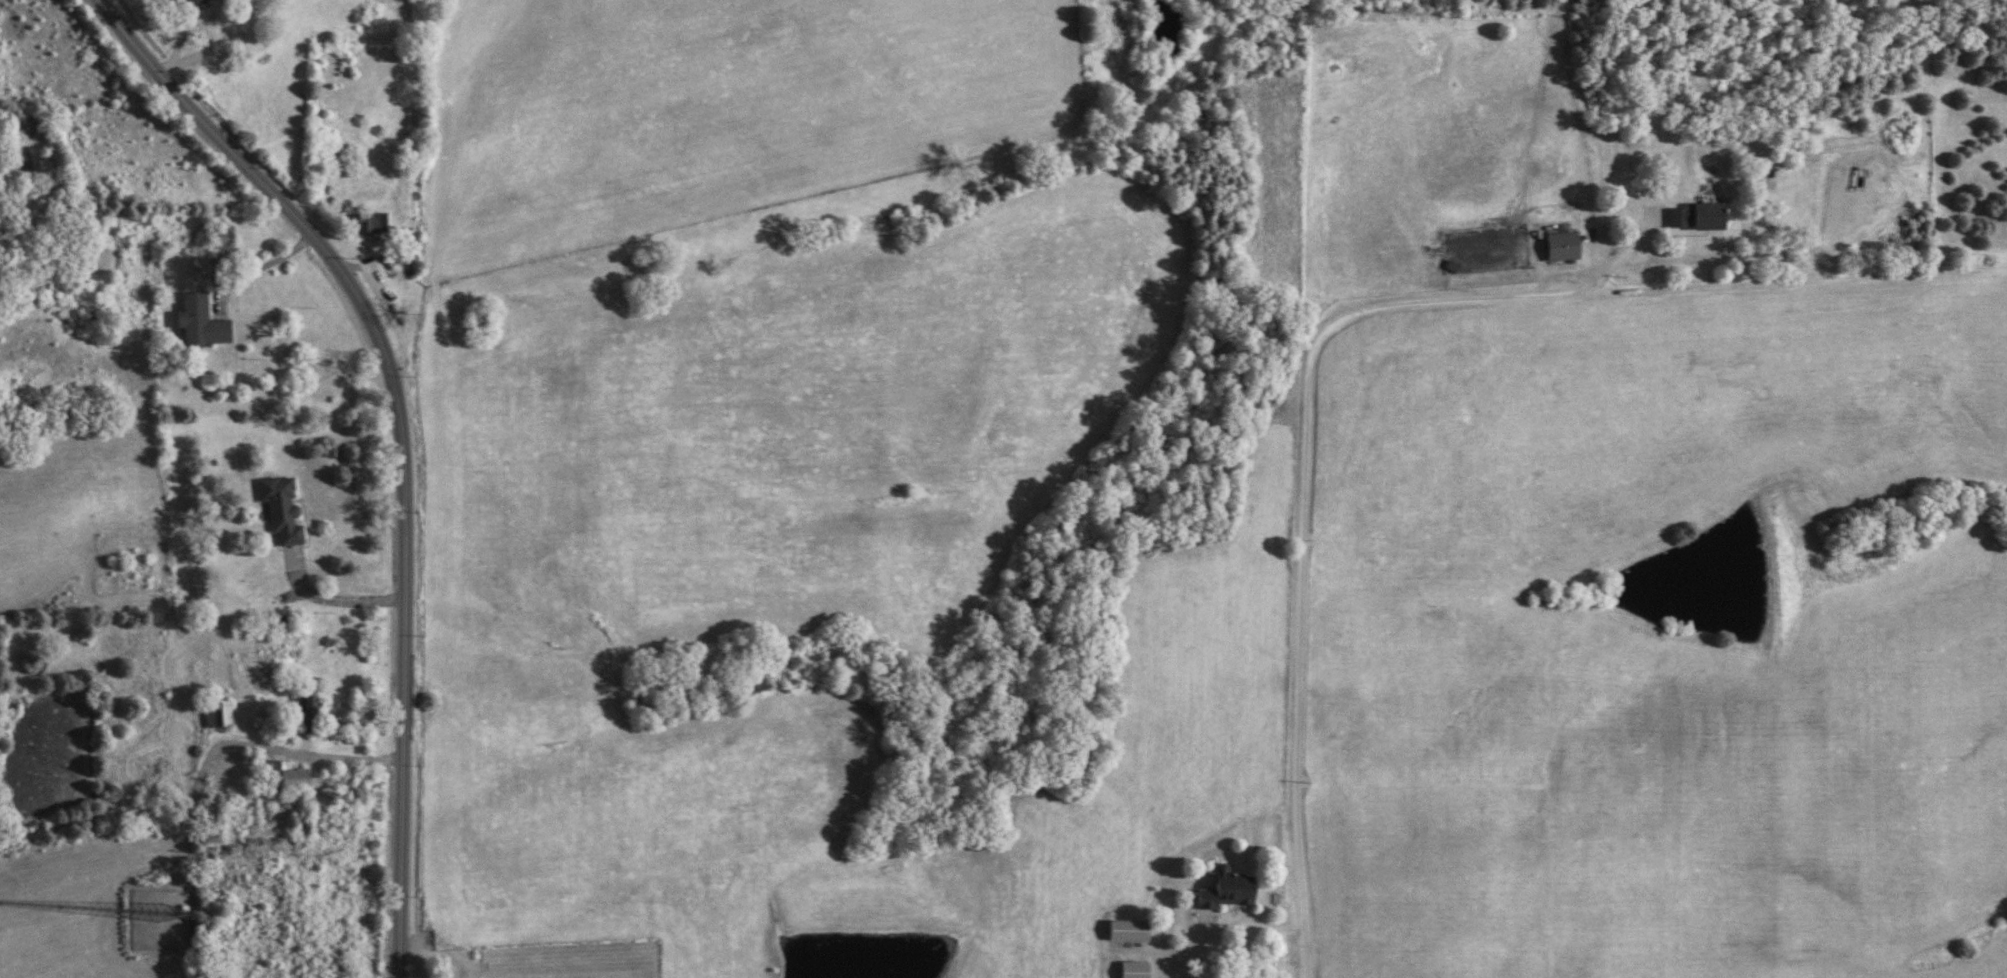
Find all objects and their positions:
building: (190, 2)
building: (1692, 217)
building: (366, 224)
building: (215, 237)
building: (1559, 247)
road: (260, 267)
building: (194, 321)
road: (401, 436)
road: (1305, 504)
building: (275, 508)
road: (336, 599)
building: (298, 705)
building: (212, 714)
road: (299, 752)
building: (278, 775)
road: (1966, 862)
building: (1222, 889)
park: (563, 962)
building: (1128, 969)

